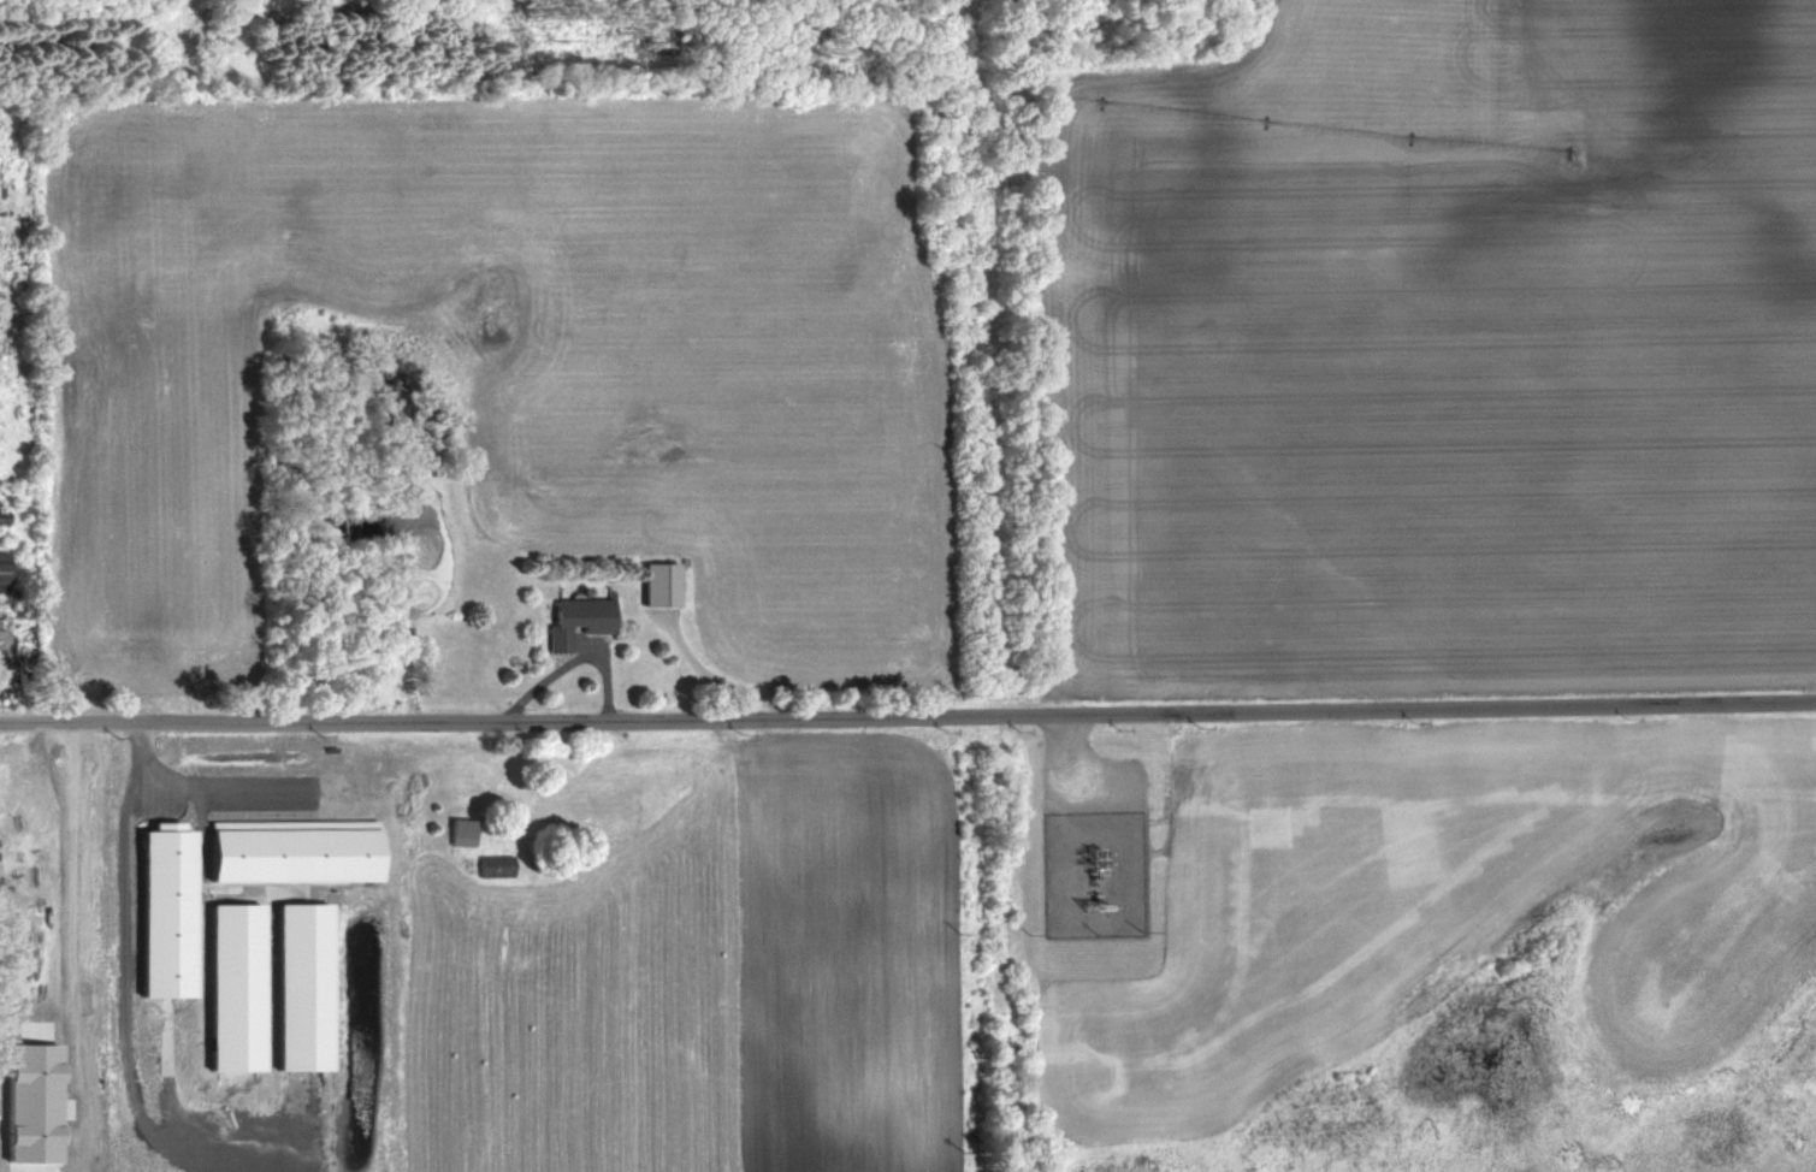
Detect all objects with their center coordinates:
building: (2, 572)
building: (573, 620)
building: (5, 637)
road: (907, 711)
road: (221, 788)
building: (457, 833)
building: (292, 850)
building: (492, 865)
power substation: (1100, 875)
building: (166, 908)
road: (122, 951)
building: (301, 984)
building: (31, 1100)

